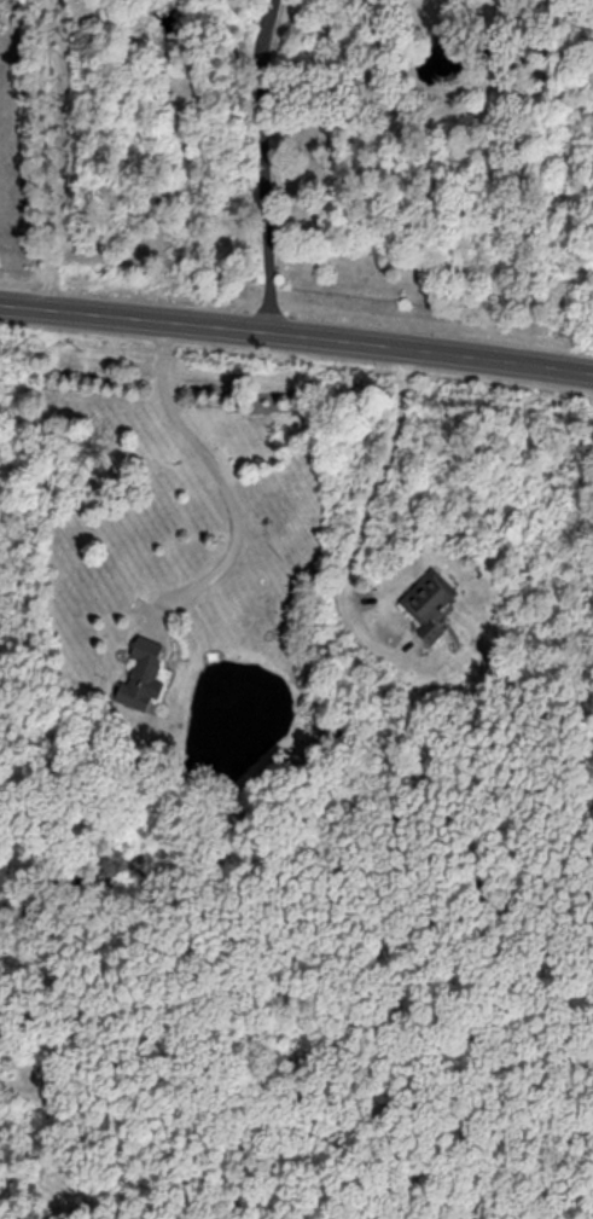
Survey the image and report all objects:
road: (51, 153)
road: (272, 164)
road: (140, 315)
road: (437, 346)
road: (383, 475)
road: (222, 482)
building: (430, 602)
building: (145, 677)
building: (487, 901)

